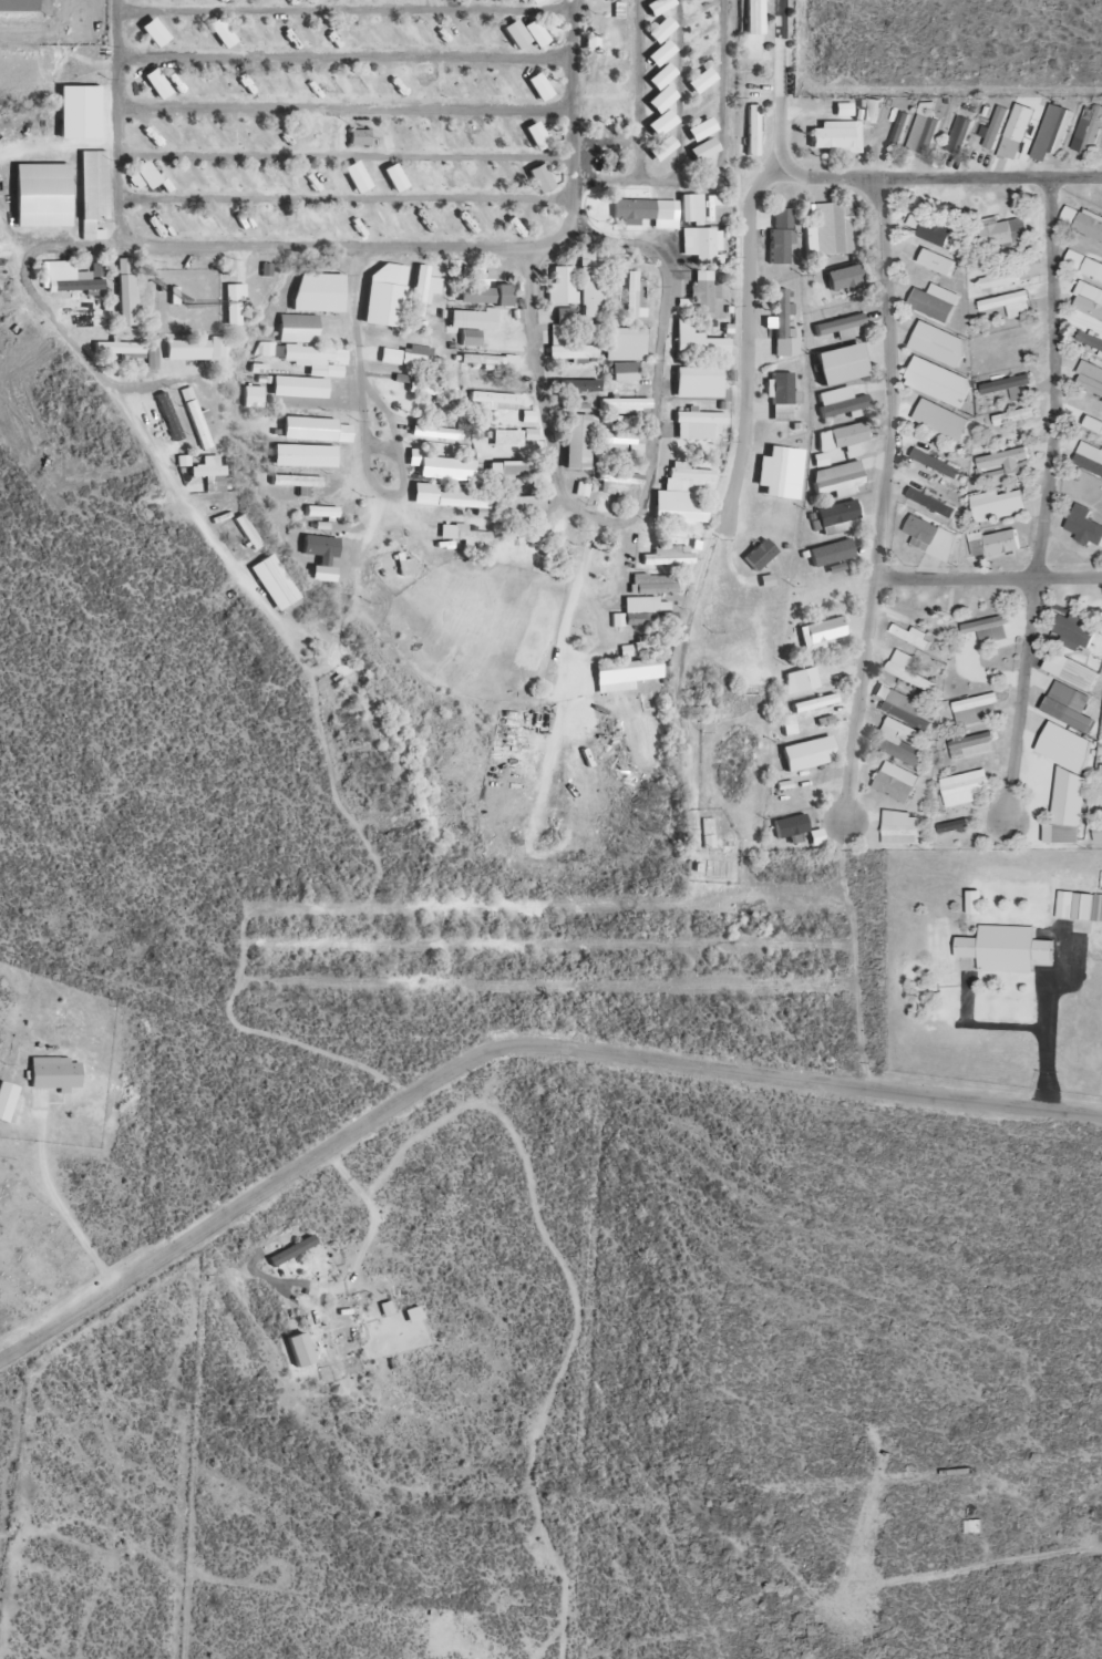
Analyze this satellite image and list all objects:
building: (18, 6)
road: (346, 8)
building: (751, 18)
road: (346, 58)
road: (639, 91)
road: (680, 91)
building: (709, 101)
road: (344, 107)
road: (571, 111)
building: (869, 111)
building: (900, 125)
building: (1052, 128)
building: (1088, 128)
building: (996, 130)
building: (752, 131)
building: (923, 131)
building: (835, 136)
building: (958, 136)
building: (359, 137)
road: (28, 148)
building: (660, 148)
road: (346, 156)
road: (720, 157)
building: (609, 161)
road: (936, 177)
road: (68, 186)
building: (92, 189)
road: (347, 198)
building: (709, 206)
building: (641, 209)
building: (1089, 225)
building: (832, 229)
building: (931, 231)
building: (1002, 235)
building: (780, 236)
road: (204, 244)
building: (702, 245)
road: (74, 247)
road: (749, 257)
building: (937, 262)
building: (418, 274)
building: (843, 278)
building: (1005, 278)
building: (590, 280)
building: (71, 281)
building: (560, 286)
building: (632, 288)
building: (702, 291)
building: (126, 292)
building: (318, 292)
building: (384, 295)
building: (485, 295)
building: (1090, 300)
building: (934, 302)
building: (230, 305)
building: (1008, 305)
building: (93, 315)
building: (559, 317)
building: (471, 324)
building: (297, 328)
building: (783, 328)
building: (842, 328)
building: (697, 340)
building: (1089, 341)
building: (1008, 343)
building: (624, 344)
building: (938, 344)
building: (217, 347)
building: (185, 350)
building: (131, 352)
building: (571, 353)
building: (306, 357)
building: (420, 357)
building: (488, 362)
building: (840, 364)
building: (256, 369)
building: (622, 372)
building: (1091, 379)
building: (938, 381)
building: (698, 382)
building: (575, 385)
building: (298, 388)
building: (421, 388)
building: (1009, 388)
building: (251, 396)
building: (493, 401)
building: (840, 402)
building: (625, 405)
building: (163, 416)
building: (1013, 416)
building: (196, 418)
road: (132, 420)
building: (940, 420)
building: (697, 424)
building: (1093, 425)
building: (431, 430)
building: (512, 437)
building: (838, 440)
road: (365, 441)
building: (576, 442)
building: (620, 443)
building: (1090, 452)
building: (303, 456)
building: (935, 464)
building: (446, 466)
building: (1005, 466)
building: (507, 471)
building: (207, 472)
building: (773, 472)
building: (684, 475)
building: (837, 480)
building: (297, 483)
building: (614, 487)
road: (885, 499)
road: (1047, 499)
building: (462, 502)
building: (521, 504)
building: (999, 506)
building: (679, 511)
building: (320, 512)
building: (837, 518)
road: (621, 522)
building: (556, 525)
building: (1083, 527)
building: (538, 529)
building: (462, 535)
building: (928, 535)
building: (992, 545)
building: (319, 548)
building: (831, 554)
building: (759, 556)
building: (668, 557)
road: (989, 578)
building: (652, 585)
road: (567, 604)
building: (643, 614)
building: (821, 632)
building: (1072, 632)
building: (985, 633)
building: (909, 635)
building: (634, 671)
building: (908, 671)
building: (1071, 671)
building: (800, 680)
building: (813, 703)
building: (899, 704)
building: (1068, 705)
building: (976, 710)
building: (900, 742)
building: (971, 746)
building: (1064, 746)
building: (807, 754)
building: (895, 783)
building: (965, 787)
building: (1067, 808)
building: (790, 826)
building: (952, 826)
building: (899, 828)
building: (1096, 832)
building: (712, 868)
building: (974, 903)
building: (1072, 908)
building: (1098, 908)
building: (1003, 950)
road: (508, 1048)
building: (54, 1074)
building: (7, 1101)
building: (297, 1350)

